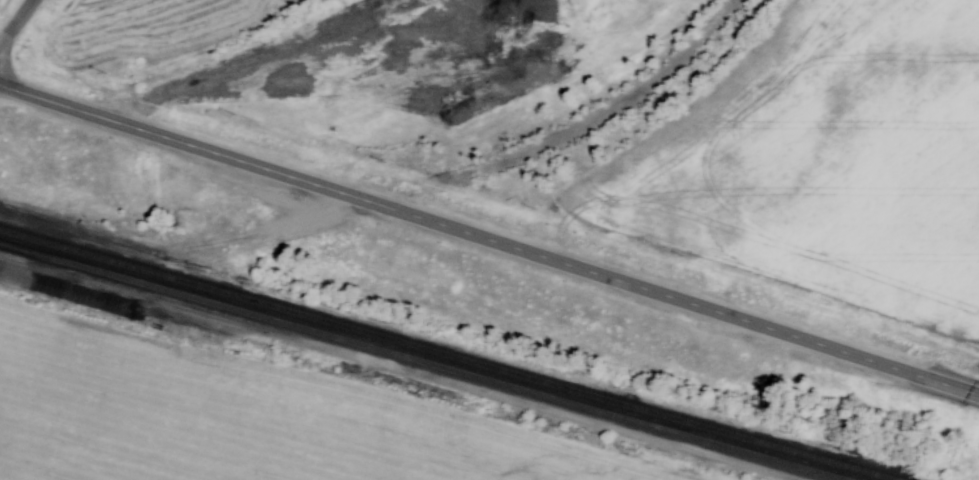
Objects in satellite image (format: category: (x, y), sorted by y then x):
road: (16, 24)
road: (486, 242)
railway: (449, 354)
railway: (424, 361)
road: (977, 391)

